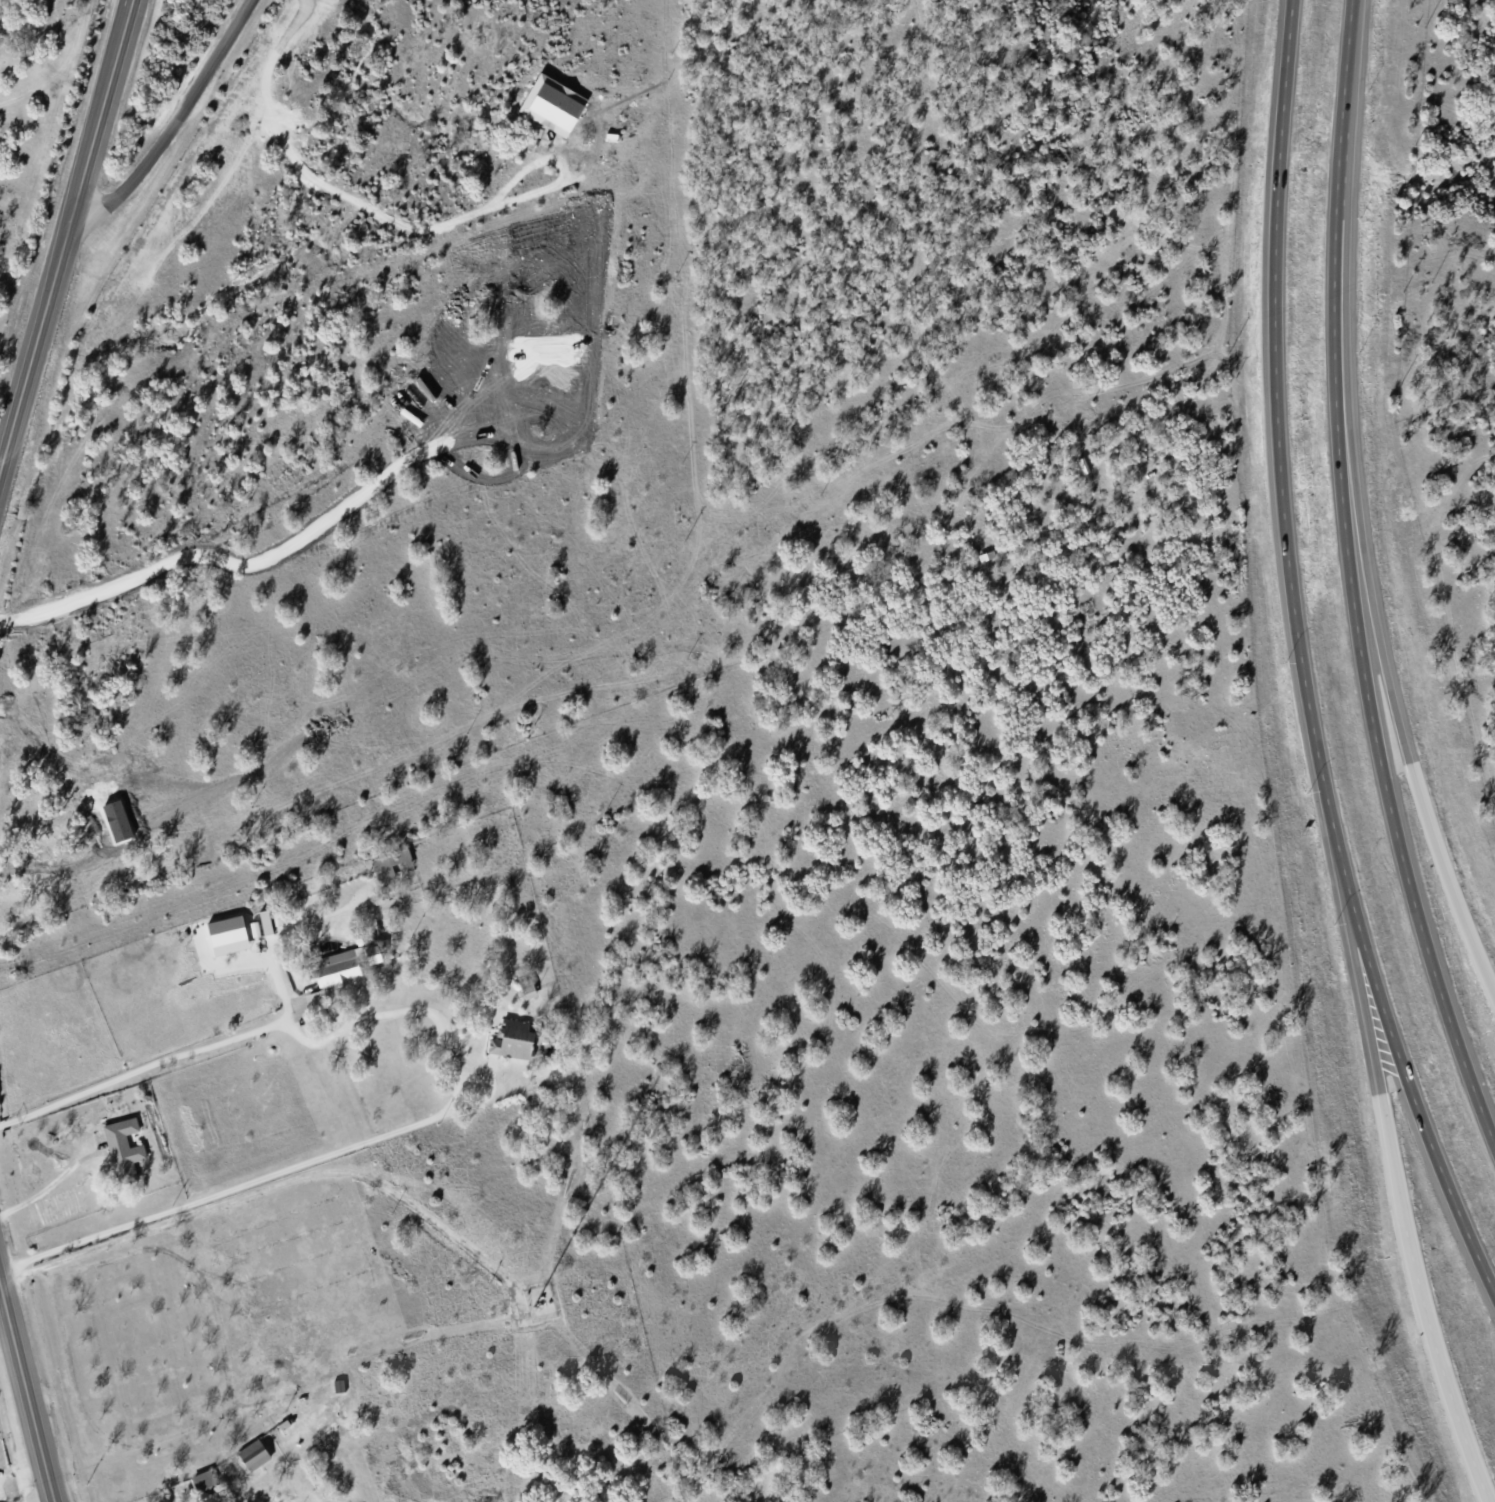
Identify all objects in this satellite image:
road: (128, 5)
road: (170, 123)
road: (61, 234)
road: (1277, 438)
road: (1349, 582)
road: (1377, 633)
building: (391, 863)
building: (267, 921)
building: (255, 928)
building: (230, 934)
building: (344, 964)
building: (316, 1001)
building: (519, 1038)
building: (495, 1045)
road: (452, 1063)
road: (1409, 1086)
building: (118, 1152)
road: (48, 1184)
road: (1397, 1191)
road: (2, 1305)
road: (26, 1395)
building: (247, 1460)
building: (204, 1479)
road: (178, 1497)

